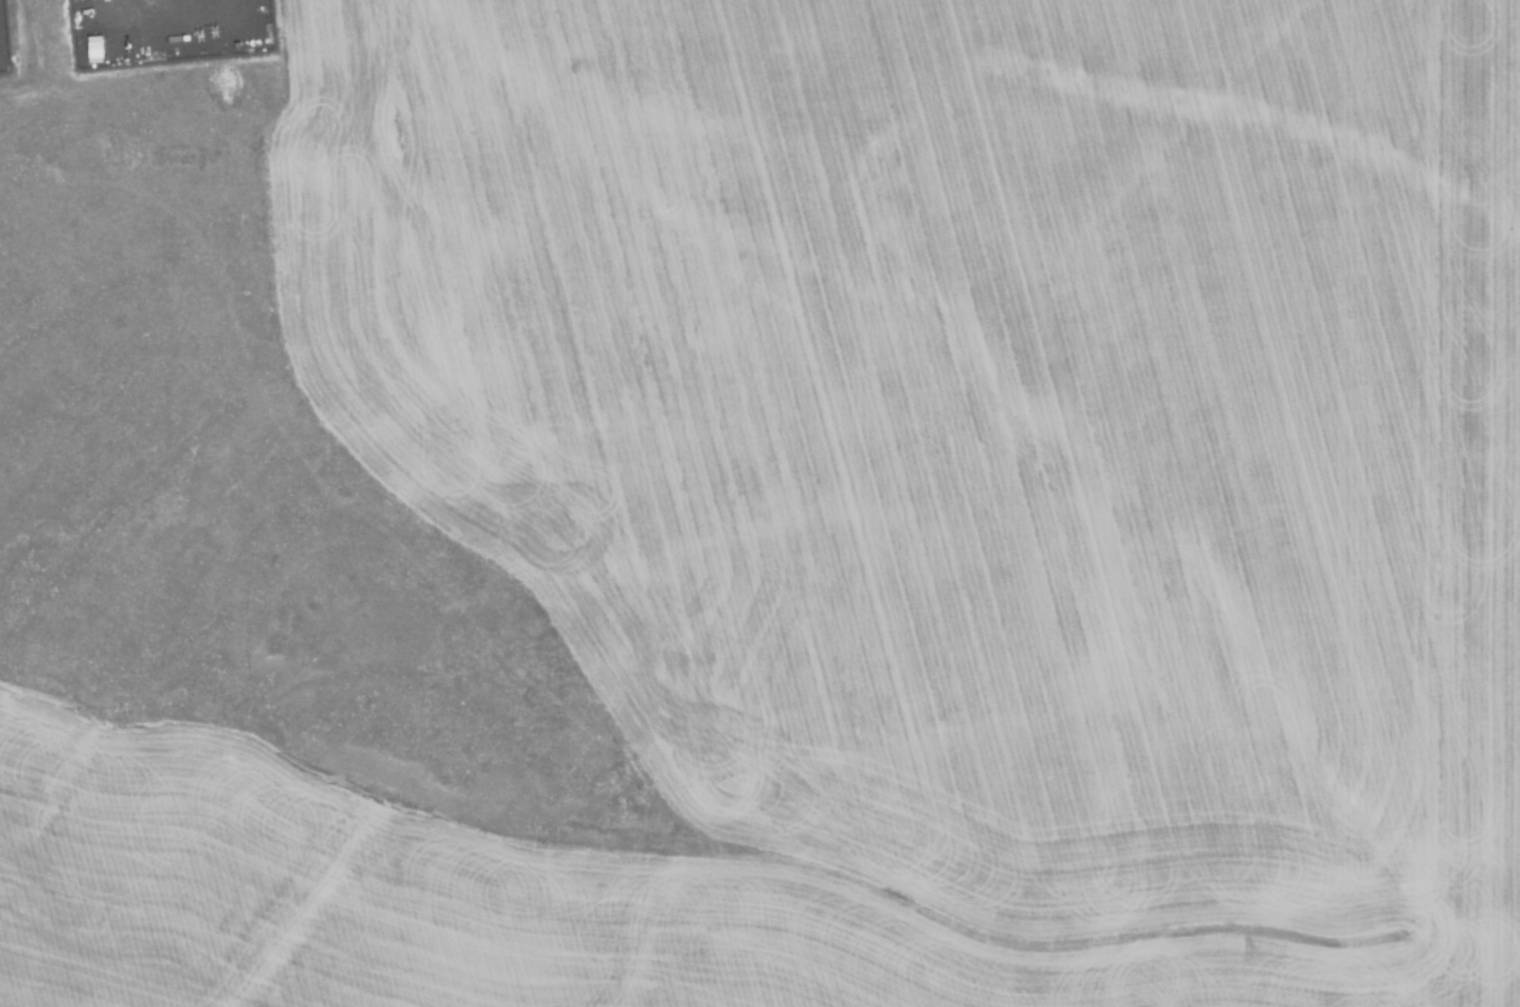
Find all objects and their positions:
power substation: (2, 46)
building: (94, 47)

